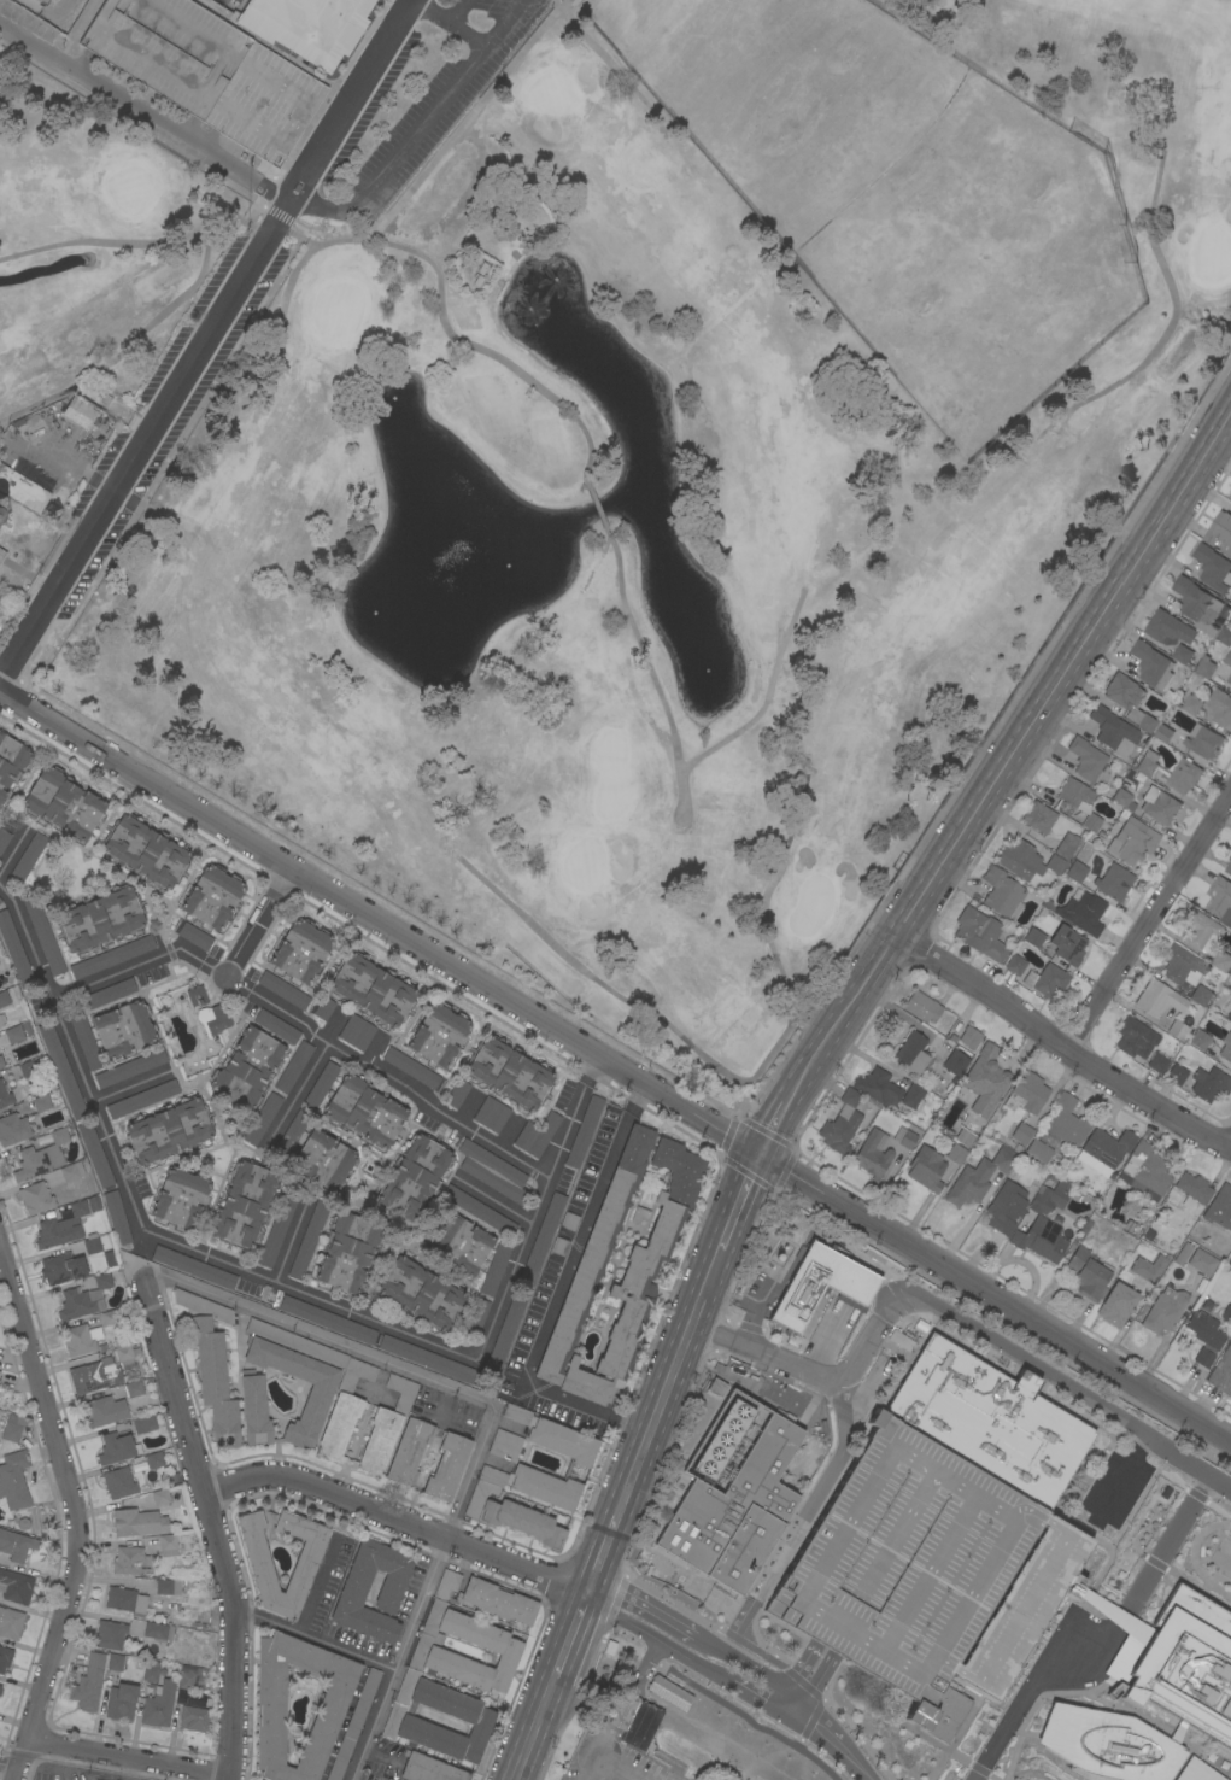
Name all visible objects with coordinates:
building: (43, 1)
road: (457, 11)
road: (502, 22)
building: (309, 27)
road: (612, 66)
building: (206, 71)
road: (145, 112)
road: (426, 119)
road: (467, 119)
road: (163, 240)
road: (440, 287)
road: (1173, 310)
road: (163, 312)
road: (207, 339)
building: (80, 412)
building: (0, 449)
park: (609, 453)
building: (22, 490)
building: (1230, 496)
road: (597, 508)
building: (1219, 529)
building: (1230, 552)
building: (1, 554)
building: (1212, 568)
building: (1196, 604)
building: (1, 616)
building: (1167, 628)
building: (1224, 634)
building: (1182, 654)
building: (1227, 658)
building: (1151, 664)
building: (1204, 668)
road: (649, 669)
building: (1229, 679)
road: (766, 698)
building: (1129, 701)
building: (1191, 704)
building: (1220, 708)
building: (0, 731)
building: (1113, 731)
building: (1162, 733)
building: (1202, 740)
road: (1015, 749)
building: (1089, 761)
building: (11, 762)
building: (1147, 763)
building: (1183, 775)
building: (1124, 798)
building: (1079, 801)
building: (63, 803)
building: (0, 804)
building: (1159, 806)
building: (1039, 818)
building: (4, 838)
building: (1132, 841)
building: (1067, 845)
building: (146, 851)
building: (28, 857)
building: (1026, 860)
building: (1080, 862)
building: (1229, 866)
building: (1114, 882)
building: (1002, 892)
building: (212, 896)
building: (0, 900)
building: (1221, 900)
building: (1080, 913)
building: (101, 919)
road: (1147, 920)
road: (379, 921)
road: (259, 923)
building: (1201, 931)
building: (43, 932)
building: (980, 933)
building: (195, 936)
building: (1033, 937)
building: (1067, 944)
building: (14, 950)
building: (301, 950)
road: (192, 955)
building: (112, 956)
building: (1221, 961)
building: (1015, 965)
building: (1183, 966)
road: (105, 978)
building: (1047, 980)
building: (371, 989)
building: (283, 990)
building: (109, 994)
building: (197, 995)
building: (1200, 995)
building: (5, 997)
building: (1159, 999)
building: (922, 1007)
building: (324, 1008)
building: (1229, 1014)
building: (218, 1019)
building: (1, 1023)
building: (277, 1026)
building: (124, 1029)
building: (1178, 1030)
building: (357, 1032)
building: (14, 1034)
building: (439, 1035)
building: (969, 1037)
building: (1135, 1038)
building: (86, 1040)
building: (1200, 1040)
road: (1061, 1047)
building: (1226, 1048)
road: (72, 1053)
building: (913, 1053)
building: (5, 1059)
building: (955, 1062)
building: (1157, 1062)
building: (293, 1066)
building: (0, 1067)
building: (411, 1067)
building: (28, 1068)
building: (130, 1068)
building: (247, 1068)
building: (63, 1071)
building: (509, 1072)
building: (1177, 1075)
road: (386, 1076)
road: (731, 1077)
building: (986, 1079)
building: (321, 1084)
building: (1209, 1084)
road: (130, 1087)
building: (878, 1087)
building: (457, 1093)
building: (1026, 1093)
road: (297, 1094)
building: (5, 1095)
building: (913, 1096)
building: (850, 1097)
building: (142, 1099)
building: (41, 1102)
building: (364, 1111)
building: (492, 1114)
road: (571, 1116)
building: (263, 1118)
road: (776, 1120)
building: (1067, 1122)
building: (13, 1129)
building: (169, 1130)
building: (840, 1130)
building: (584, 1131)
building: (1022, 1132)
building: (292, 1134)
building: (506, 1134)
building: (537, 1134)
building: (965, 1136)
building: (904, 1137)
building: (1038, 1150)
building: (1104, 1150)
building: (95, 1154)
traffic signals: (756, 1154)
building: (873, 1154)
building: (956, 1154)
building: (42, 1157)
building: (324, 1160)
building: (926, 1169)
building: (1145, 1169)
building: (71, 1171)
building: (493, 1171)
building: (415, 1177)
building: (979, 1177)
building: (1192, 1190)
building: (35, 1198)
building: (181, 1198)
building: (1048, 1199)
building: (245, 1204)
road: (737, 1205)
building: (1006, 1207)
building: (1220, 1207)
building: (479, 1211)
building: (640, 1214)
building: (117, 1217)
building: (569, 1220)
building: (277, 1226)
building: (61, 1228)
road: (291, 1240)
building: (309, 1240)
building: (1041, 1240)
building: (540, 1241)
building: (461, 1243)
building: (92, 1245)
building: (559, 1246)
building: (348, 1252)
building: (1183, 1253)
building: (1202, 1261)
road: (514, 1265)
building: (194, 1266)
building: (641, 1266)
building: (64, 1267)
building: (494, 1269)
building: (1148, 1269)
building: (1088, 1275)
building: (819, 1283)
building: (421, 1292)
road: (307, 1293)
road: (557, 1295)
building: (84, 1298)
road: (993, 1298)
building: (1116, 1305)
building: (1165, 1311)
building: (1226, 1313)
building: (476, 1316)
building: (327, 1319)
building: (1206, 1330)
building: (506, 1331)
building: (81, 1339)
building: (297, 1342)
building: (123, 1352)
building: (427, 1358)
building: (1203, 1358)
building: (211, 1363)
building: (1221, 1372)
road: (819, 1374)
building: (94, 1377)
building: (717, 1387)
building: (133, 1388)
road: (1074, 1393)
building: (317, 1401)
building: (254, 1407)
building: (105, 1411)
building: (345, 1411)
building: (143, 1424)
road: (652, 1425)
building: (385, 1427)
building: (11, 1428)
building: (723, 1440)
road: (481, 1442)
building: (505, 1445)
building: (117, 1448)
building: (571, 1448)
building: (409, 1451)
building: (154, 1460)
building: (447, 1466)
building: (14, 1480)
building: (119, 1482)
building: (160, 1497)
building: (1101, 1510)
building: (734, 1512)
building: (512, 1516)
road: (799, 1517)
road: (77, 1520)
building: (137, 1522)
road: (399, 1523)
road: (216, 1524)
building: (930, 1526)
parking garage: (930, 1526)
building: (1185, 1530)
building: (17, 1545)
building: (168, 1545)
building: (130, 1561)
building: (305, 1565)
building: (1149, 1576)
building: (446, 1583)
building: (16, 1587)
building: (168, 1587)
building: (354, 1587)
building: (127, 1600)
building: (498, 1600)
building: (1020, 1610)
building: (1185, 1610)
building: (10, 1623)
building: (158, 1630)
road: (690, 1633)
building: (110, 1634)
road: (1101, 1634)
road: (569, 1641)
building: (5, 1657)
road: (681, 1658)
building: (116, 1662)
building: (1179, 1665)
building: (151, 1670)
building: (187, 1681)
building: (89, 1682)
building: (486, 1682)
building: (0, 1690)
building: (270, 1697)
building: (189, 1698)
building: (122, 1702)
building: (159, 1704)
road: (620, 1711)
building: (193, 1718)
building: (354, 1722)
building: (637, 1722)
road: (370, 1723)
road: (534, 1733)
road: (828, 1735)
building: (655, 1752)
building: (688, 1752)
road: (134, 1757)
road: (12, 1764)
building: (429, 1768)
building: (1196, 1772)
parking lot: (60, 1773)
building: (1230, 1776)

